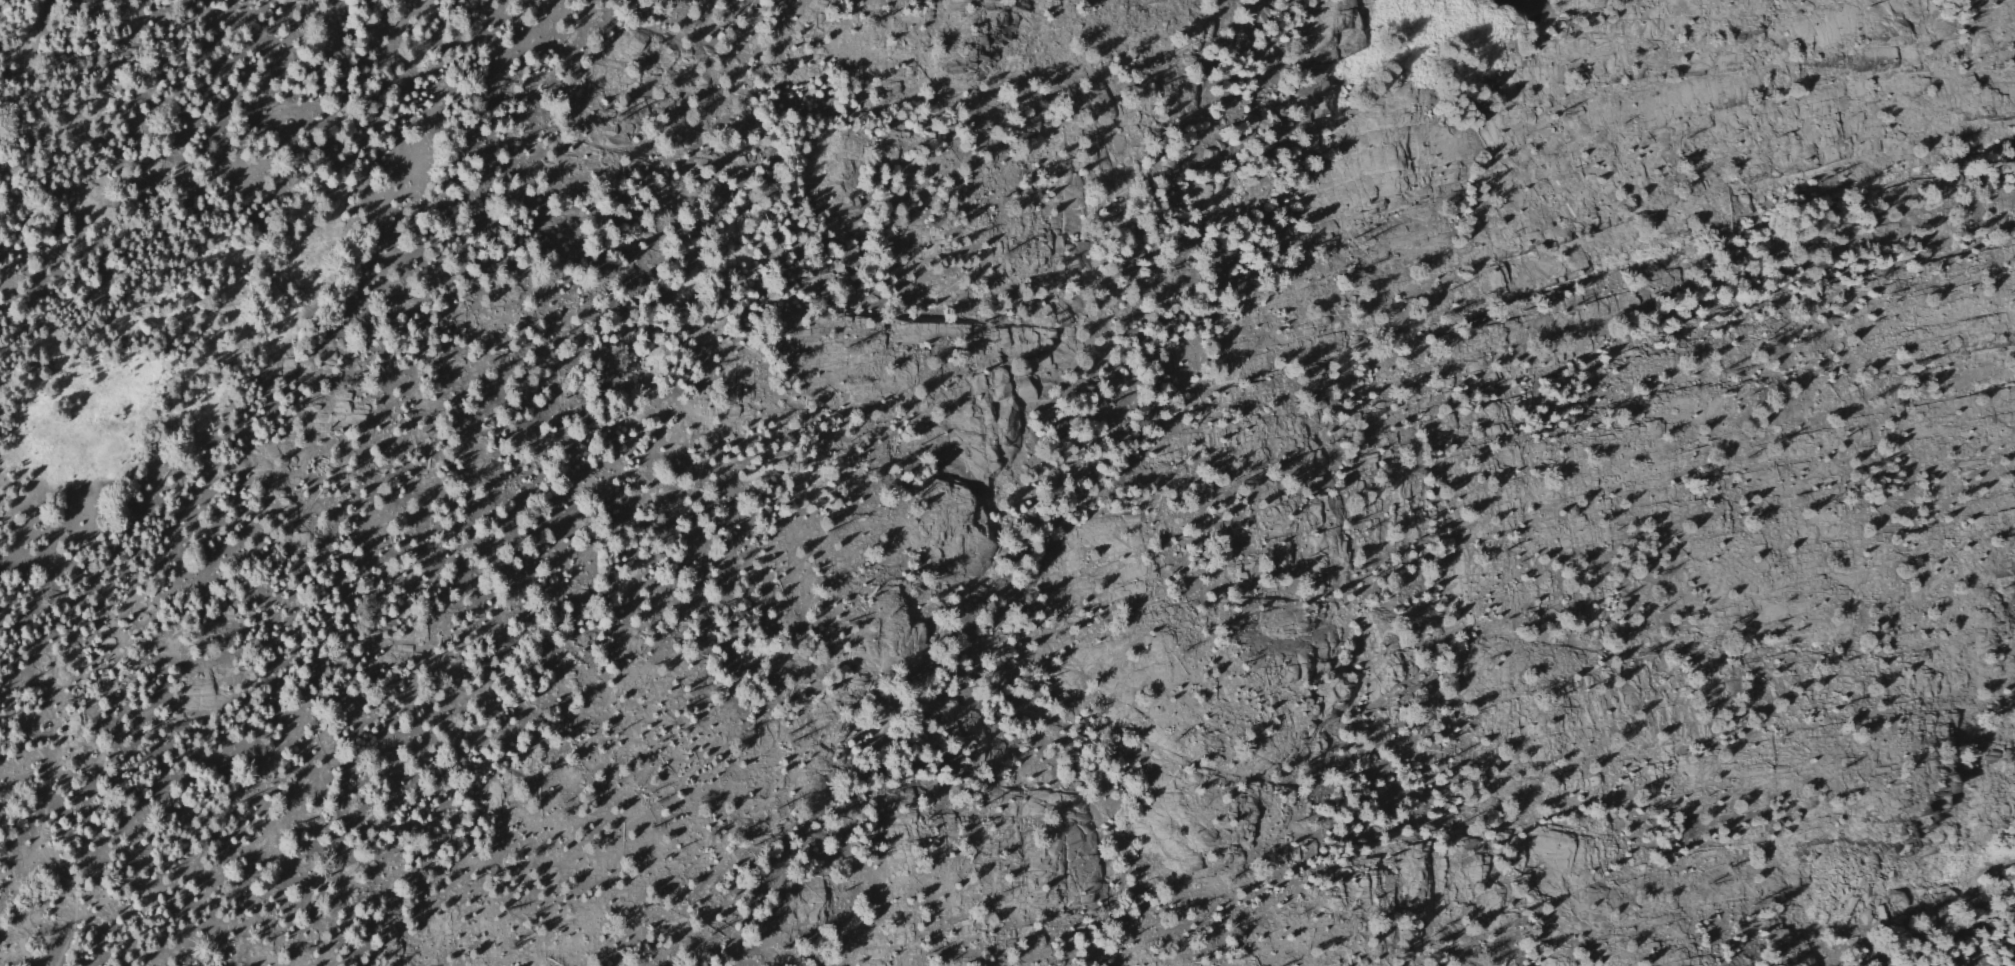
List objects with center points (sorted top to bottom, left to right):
road: (39, 832)

